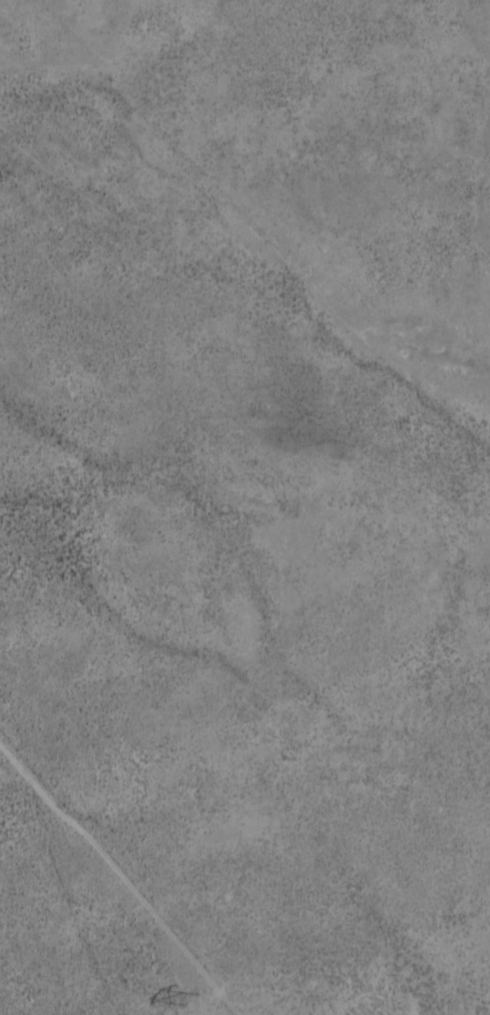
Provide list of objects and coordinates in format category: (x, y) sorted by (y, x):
power tower: (193, 1003)

